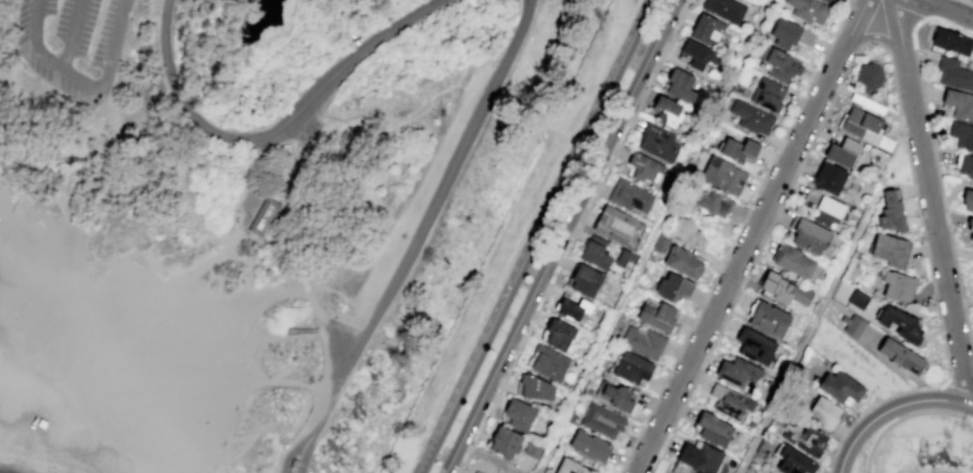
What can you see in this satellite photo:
building: (830, 1)
road: (968, 1)
road: (530, 6)
building: (724, 9)
road: (949, 9)
building: (808, 10)
road: (912, 11)
building: (713, 31)
road: (69, 36)
building: (796, 36)
road: (876, 37)
building: (954, 43)
parking lot: (73, 46)
building: (702, 55)
building: (787, 66)
road: (164, 67)
road: (347, 72)
building: (957, 74)
building: (875, 76)
road: (81, 84)
building: (686, 84)
building: (772, 95)
building: (962, 103)
building: (676, 113)
building: (756, 117)
building: (972, 121)
building: (865, 123)
parking lot: (306, 129)
road: (224, 132)
building: (965, 138)
road: (86, 139)
building: (663, 144)
building: (745, 150)
building: (850, 152)
building: (970, 166)
building: (650, 168)
building: (729, 175)
building: (837, 178)
road: (939, 178)
parking lot: (422, 184)
road: (252, 193)
building: (634, 197)
road: (436, 199)
road: (932, 202)
building: (720, 204)
building: (971, 204)
building: (827, 210)
building: (898, 212)
park: (266, 219)
building: (264, 220)
road: (579, 224)
building: (621, 226)
building: (971, 230)
road: (515, 232)
building: (808, 234)
road: (535, 236)
road: (557, 236)
road: (654, 236)
road: (737, 236)
road: (753, 236)
building: (660, 244)
road: (762, 246)
building: (896, 251)
building: (600, 254)
building: (628, 260)
building: (792, 260)
building: (690, 264)
building: (146, 268)
road: (267, 268)
building: (592, 280)
building: (905, 287)
building: (679, 288)
building: (789, 291)
road: (305, 292)
road: (936, 295)
building: (862, 300)
building: (579, 309)
building: (663, 316)
building: (773, 318)
road: (319, 319)
building: (906, 324)
building: (858, 326)
road: (306, 329)
building: (566, 335)
building: (646, 343)
building: (761, 346)
building: (908, 357)
building: (552, 363)
building: (638, 369)
building: (743, 373)
road: (788, 376)
road: (336, 383)
road: (300, 385)
building: (848, 387)
building: (539, 389)
road: (958, 390)
building: (623, 398)
road: (329, 400)
building: (732, 402)
road: (891, 408)
building: (830, 414)
building: (524, 416)
road: (904, 416)
road: (972, 418)
road: (366, 421)
building: (606, 422)
building: (719, 430)
building: (807, 438)
road: (297, 442)
building: (511, 443)
road: (309, 444)
building: (595, 448)
building: (536, 450)
road: (487, 458)
building: (705, 458)
road: (463, 461)
building: (796, 461)
building: (293, 463)
toll booth: (301, 464)
building: (578, 467)
road: (408, 472)
building: (476, 472)
road: (537, 472)

